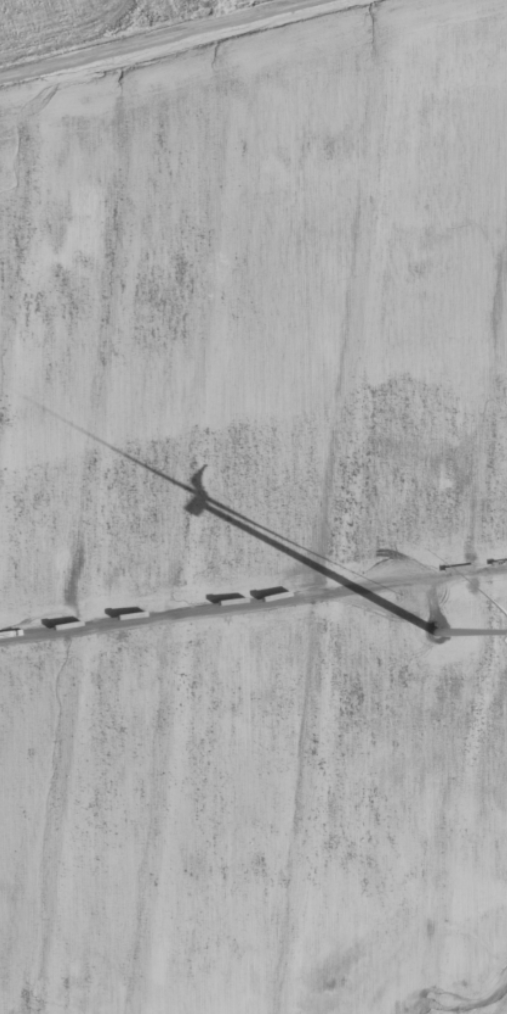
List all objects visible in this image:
road: (143, 35)
wind turbine: (436, 634)

